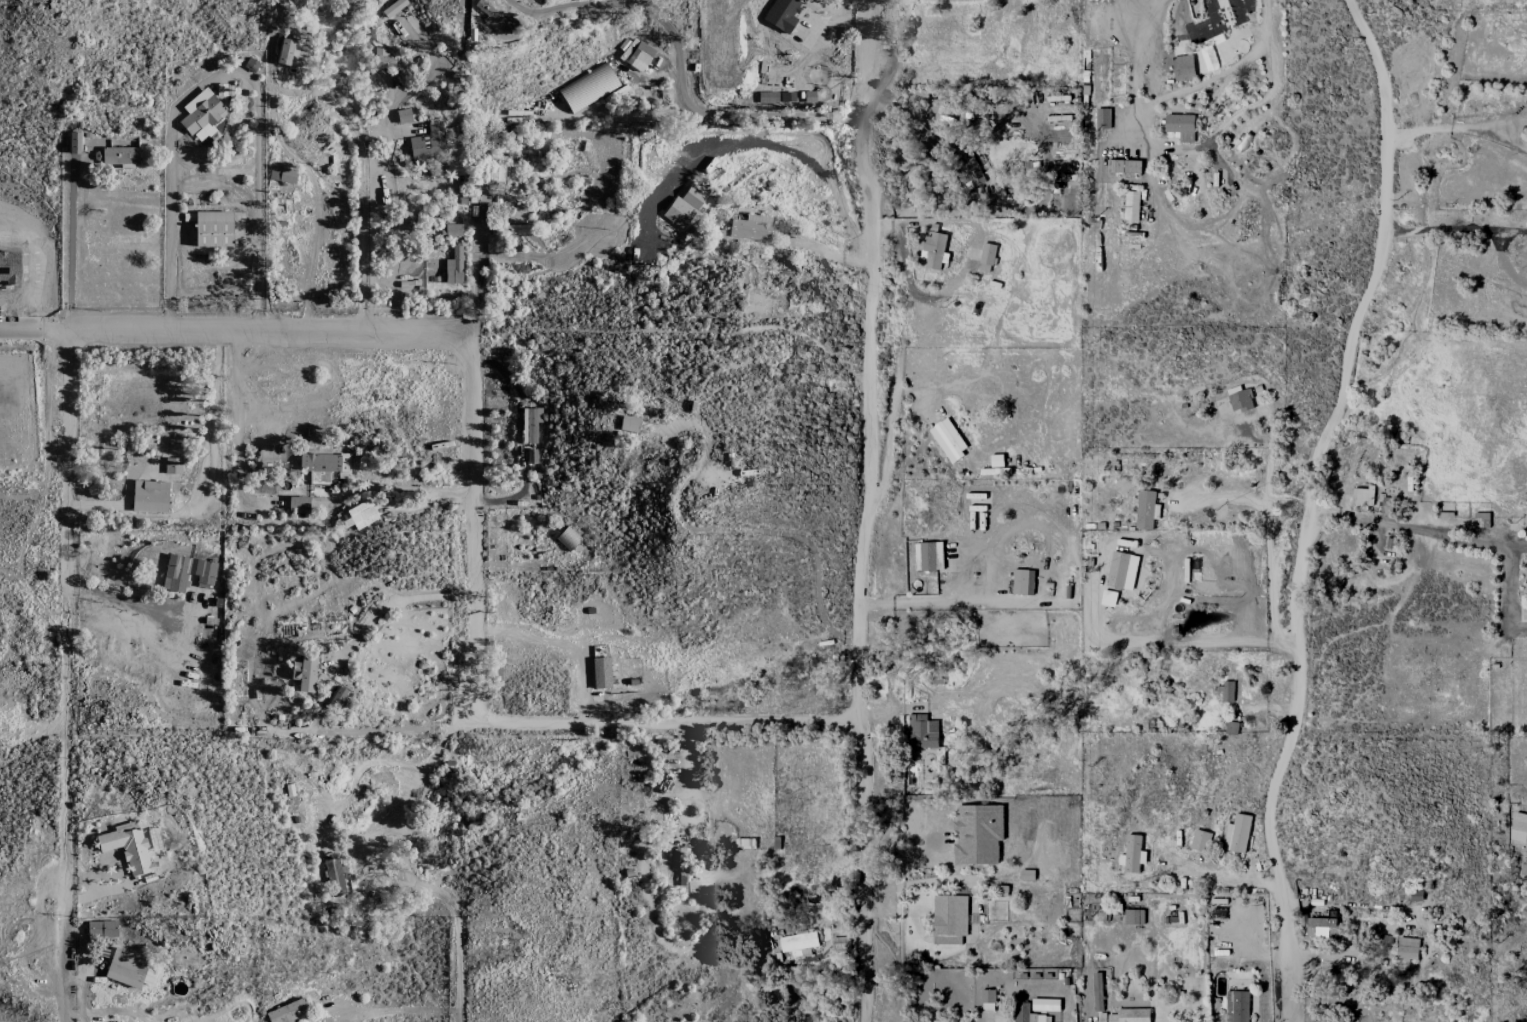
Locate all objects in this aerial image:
building: (394, 8)
building: (782, 14)
building: (494, 16)
road: (1265, 20)
building: (285, 52)
building: (639, 56)
building: (382, 59)
building: (1183, 67)
road: (679, 68)
road: (221, 73)
building: (588, 88)
building: (767, 97)
building: (972, 107)
building: (201, 115)
building: (1103, 118)
building: (1182, 126)
road: (1458, 127)
road: (357, 137)
building: (75, 143)
building: (428, 144)
road: (1159, 144)
building: (120, 155)
road: (807, 161)
building: (1124, 165)
building: (493, 169)
building: (976, 169)
building: (282, 175)
building: (1069, 194)
building: (693, 197)
road: (315, 204)
building: (751, 228)
road: (1452, 228)
building: (213, 229)
building: (519, 229)
building: (453, 230)
building: (935, 249)
road: (829, 252)
building: (987, 257)
building: (454, 266)
road: (723, 313)
road: (33, 330)
road: (269, 332)
building: (1240, 400)
building: (629, 424)
building: (529, 426)
road: (236, 427)
building: (948, 439)
building: (173, 466)
building: (323, 467)
road: (421, 491)
building: (1362, 496)
building: (149, 497)
building: (298, 504)
road: (1305, 505)
road: (115, 506)
building: (1147, 508)
road: (867, 510)
building: (362, 515)
building: (1481, 519)
road: (1402, 523)
road: (476, 531)
road: (775, 532)
road: (1270, 536)
building: (567, 539)
road: (1513, 546)
building: (929, 556)
building: (1122, 570)
building: (186, 572)
building: (1023, 581)
road: (1507, 591)
road: (64, 592)
building: (1109, 597)
road: (395, 601)
road: (952, 601)
road: (561, 643)
road: (1170, 644)
building: (600, 673)
building: (304, 674)
building: (1228, 691)
building: (338, 697)
road: (921, 707)
road: (662, 724)
building: (1231, 727)
building: (921, 732)
building: (1519, 827)
building: (1237, 833)
building: (978, 834)
building: (1200, 840)
building: (127, 846)
building: (1133, 854)
building: (1524, 869)
building: (1028, 874)
building: (334, 877)
road: (1218, 879)
building: (1134, 916)
road: (455, 917)
building: (950, 918)
building: (1322, 927)
building: (102, 929)
road: (62, 937)
building: (799, 943)
building: (1407, 948)
building: (129, 969)
building: (1098, 992)
building: (988, 999)
building: (1237, 1006)
building: (288, 1012)
building: (1022, 1012)
building: (1126, 1015)

